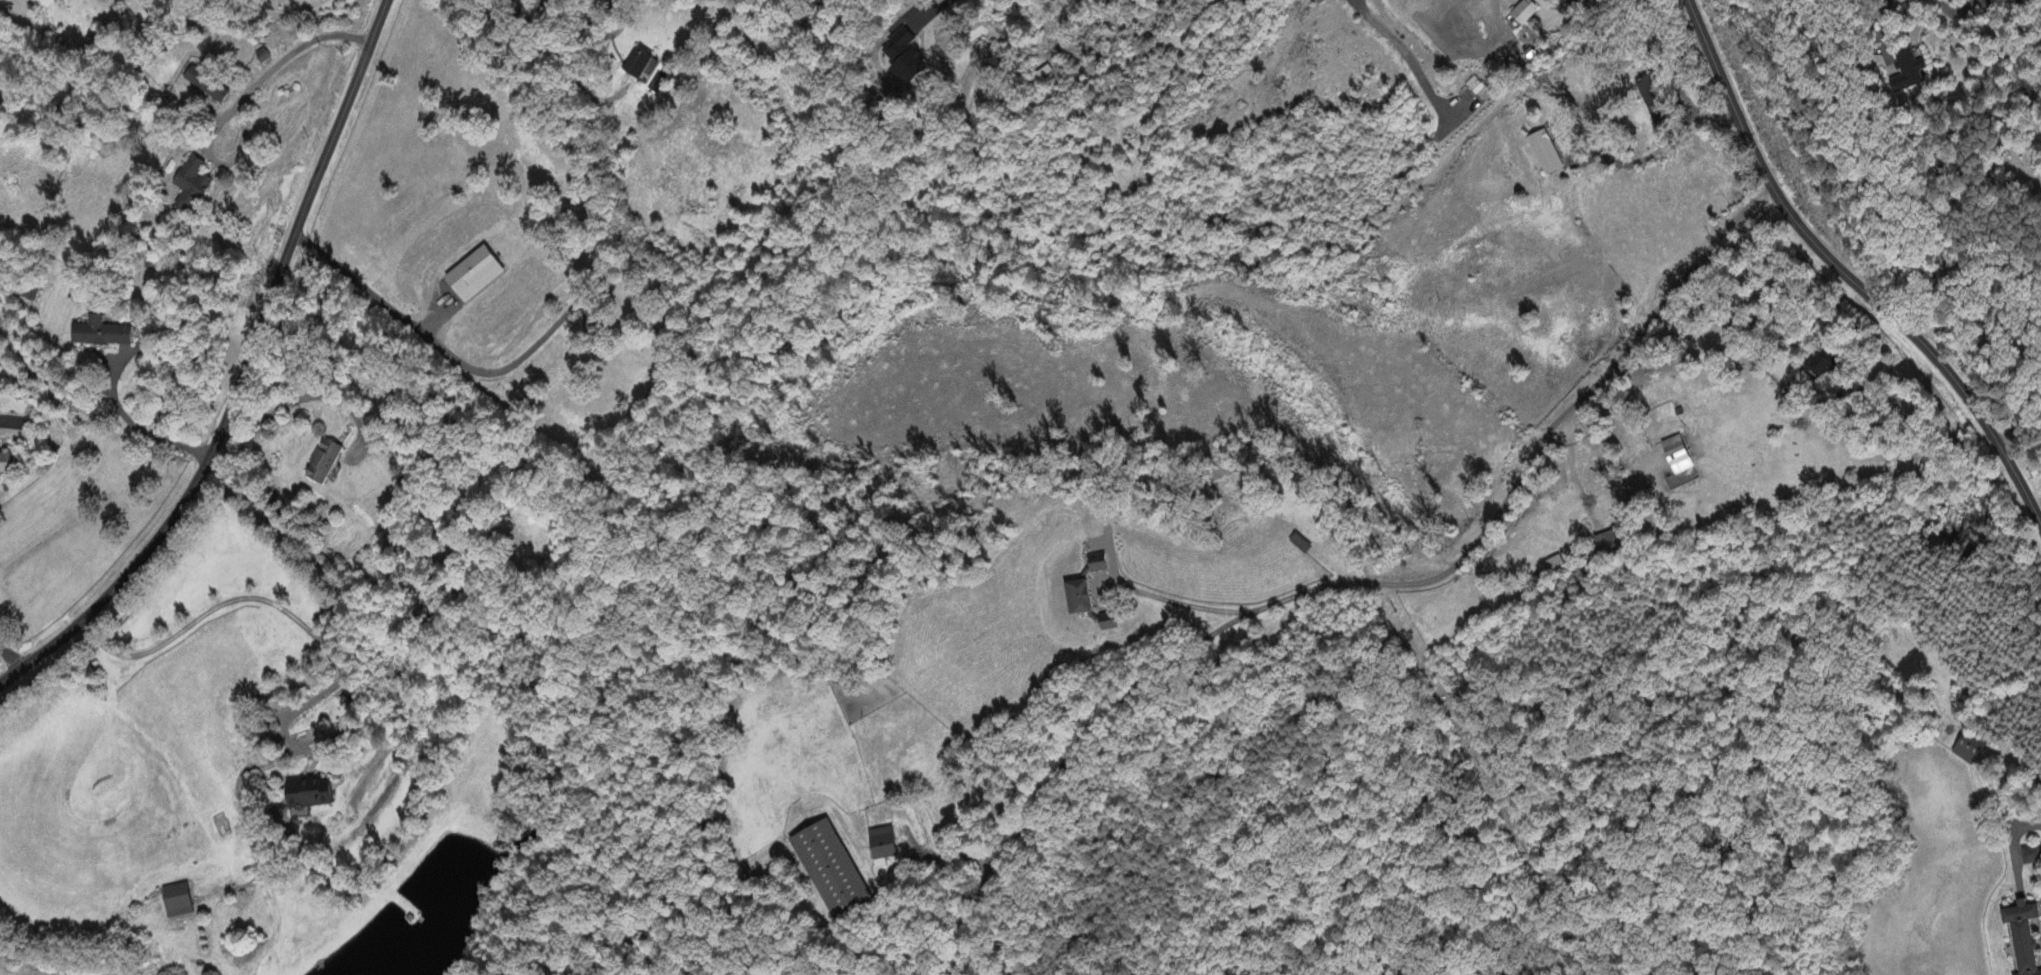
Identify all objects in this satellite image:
road: (1571, 1)
road: (278, 9)
road: (1954, 11)
road: (936, 12)
road: (1559, 14)
road: (1885, 23)
road: (2001, 43)
road: (1396, 49)
road: (287, 56)
road: (1653, 152)
road: (1841, 276)
road: (441, 347)
road: (243, 373)
road: (297, 400)
road: (135, 418)
road: (2019, 427)
road: (1534, 457)
road: (1171, 599)
road: (324, 646)
road: (8, 659)
road: (1061, 765)
road: (940, 858)

